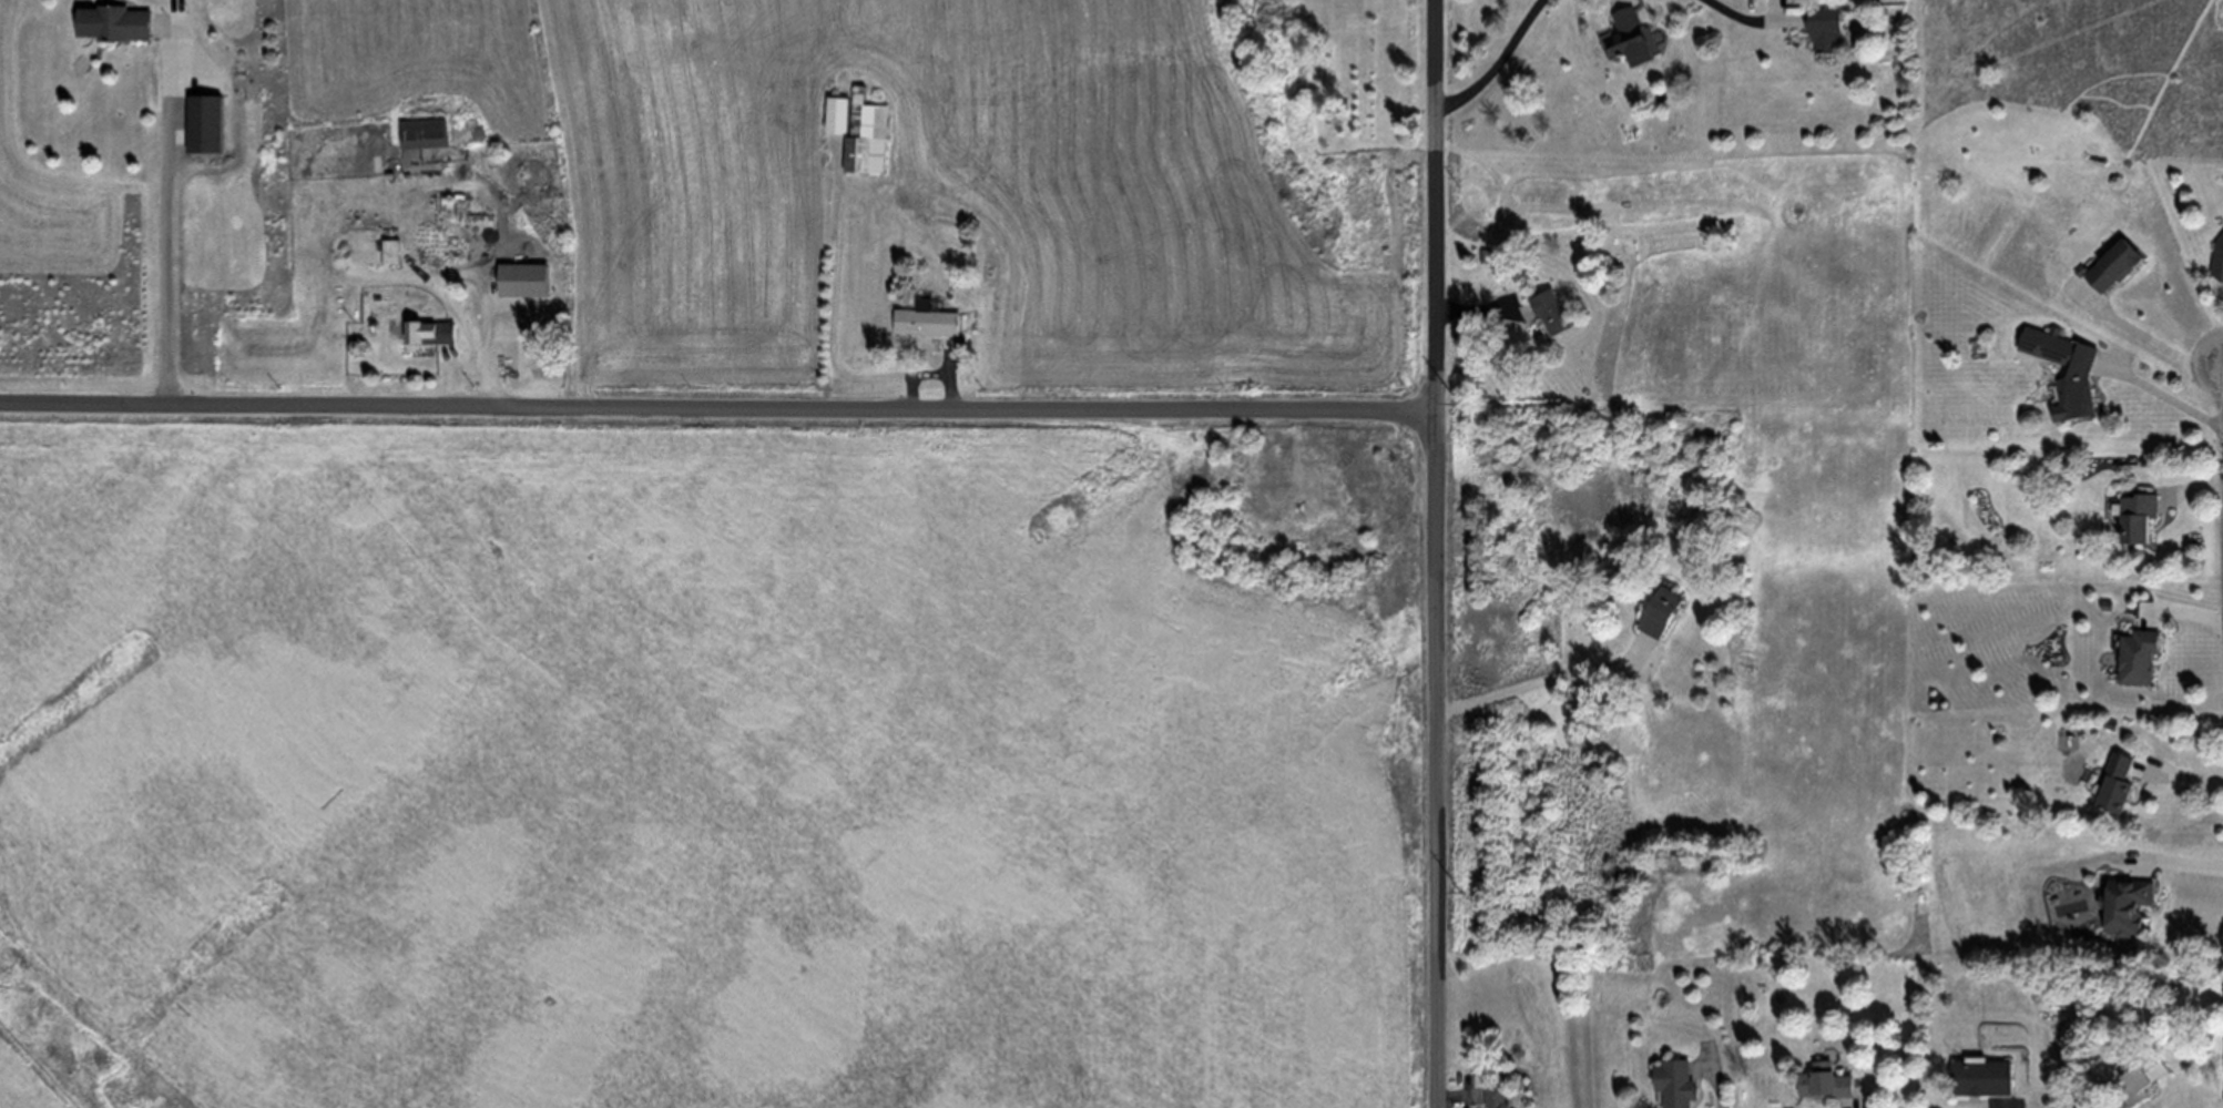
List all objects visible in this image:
road: (1747, 17)
building: (113, 20)
building: (1826, 29)
building: (1630, 38)
road: (1501, 61)
building: (837, 112)
building: (204, 123)
building: (426, 133)
building: (867, 135)
building: (931, 185)
road: (171, 212)
building: (371, 251)
building: (1489, 256)
building: (2217, 258)
building: (2109, 266)
road: (458, 274)
building: (527, 279)
road: (442, 292)
road: (1482, 309)
building: (1551, 311)
road: (835, 314)
building: (927, 319)
road: (487, 326)
building: (428, 332)
road: (2146, 335)
road: (455, 370)
road: (932, 373)
building: (2076, 384)
road: (2160, 392)
road: (718, 408)
road: (2195, 487)
building: (2139, 517)
road: (1438, 553)
building: (1662, 611)
road: (2184, 612)
building: (2138, 657)
road: (1548, 679)
road: (2179, 775)
building: (2115, 783)
road: (2179, 863)
building: (2124, 906)
building: (1979, 1076)
building: (2139, 1076)
road: (1720, 1077)
building: (1824, 1081)
building: (1676, 1084)
road: (1459, 1096)
building: (1495, 1096)
road: (2114, 1102)
road: (1847, 1105)
road: (2000, 1105)

